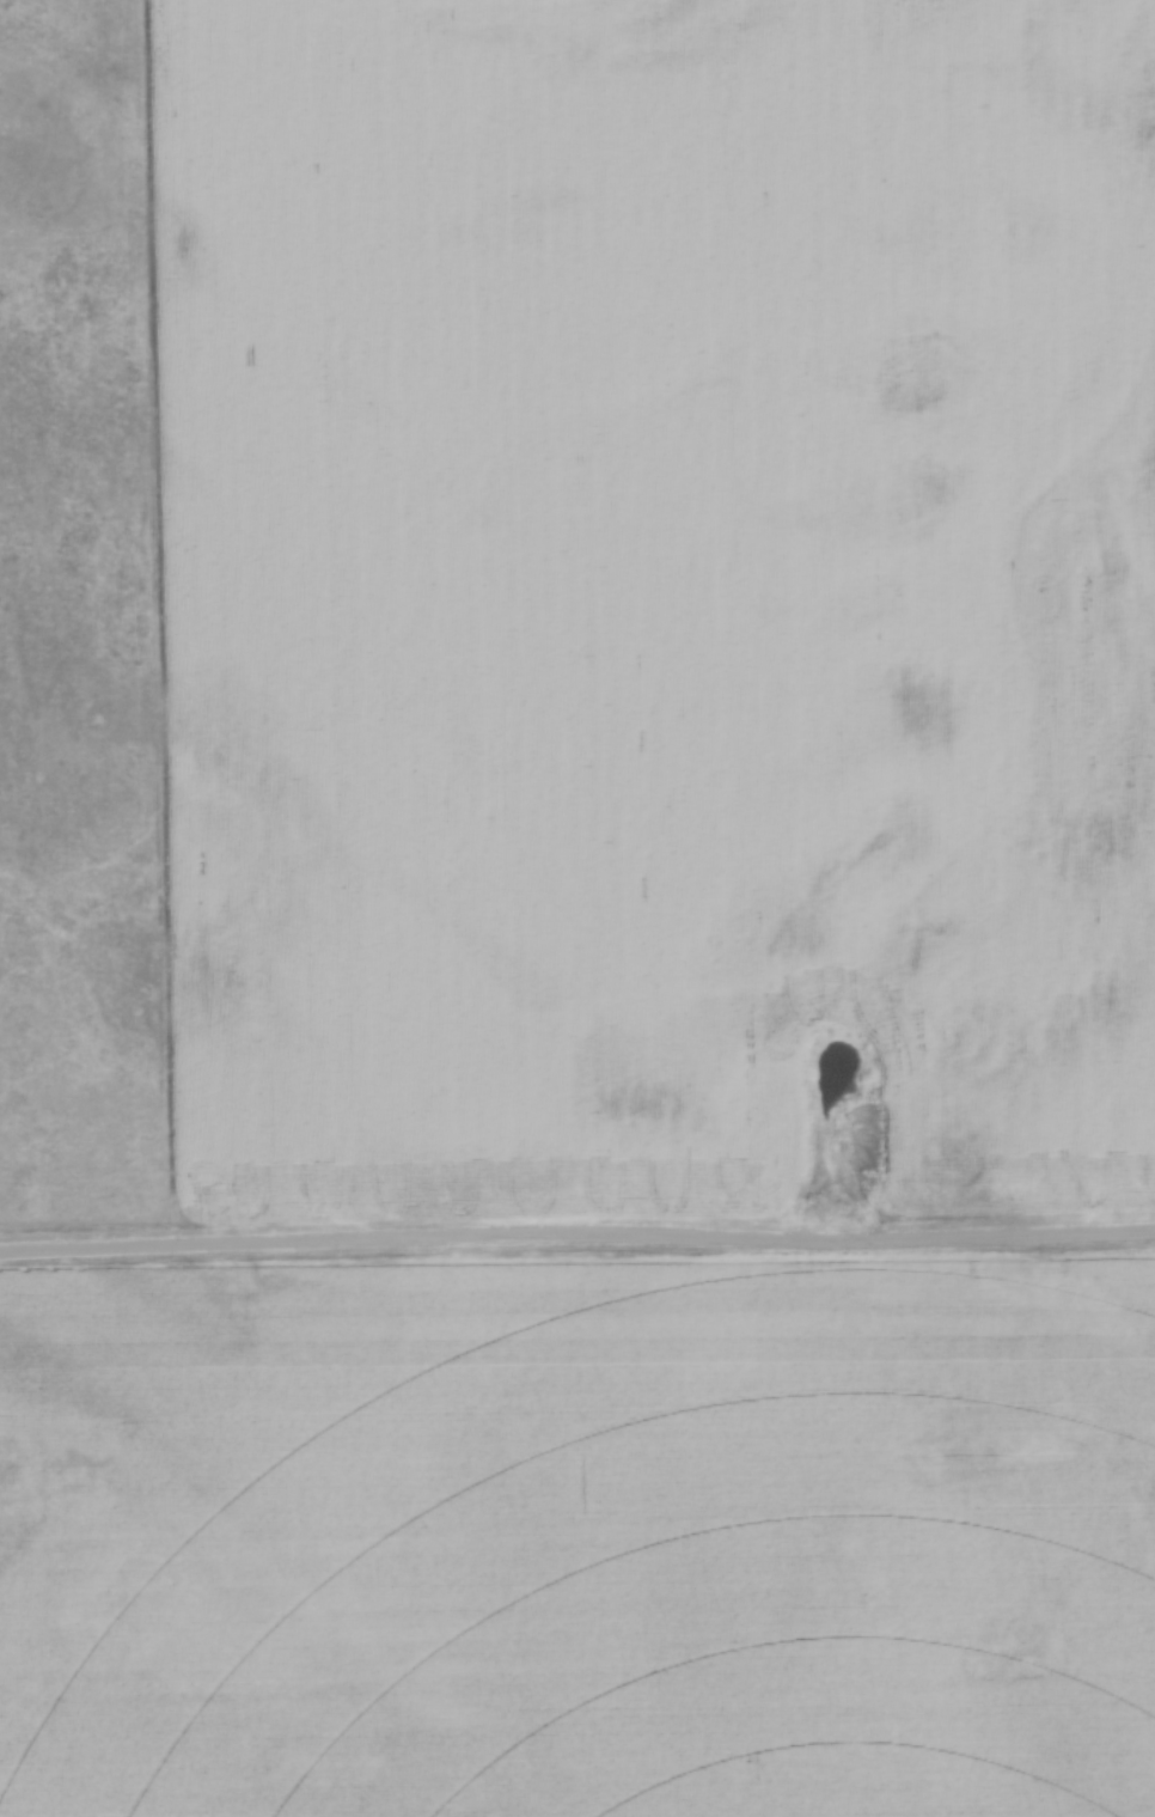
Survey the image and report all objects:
road: (576, 1242)

